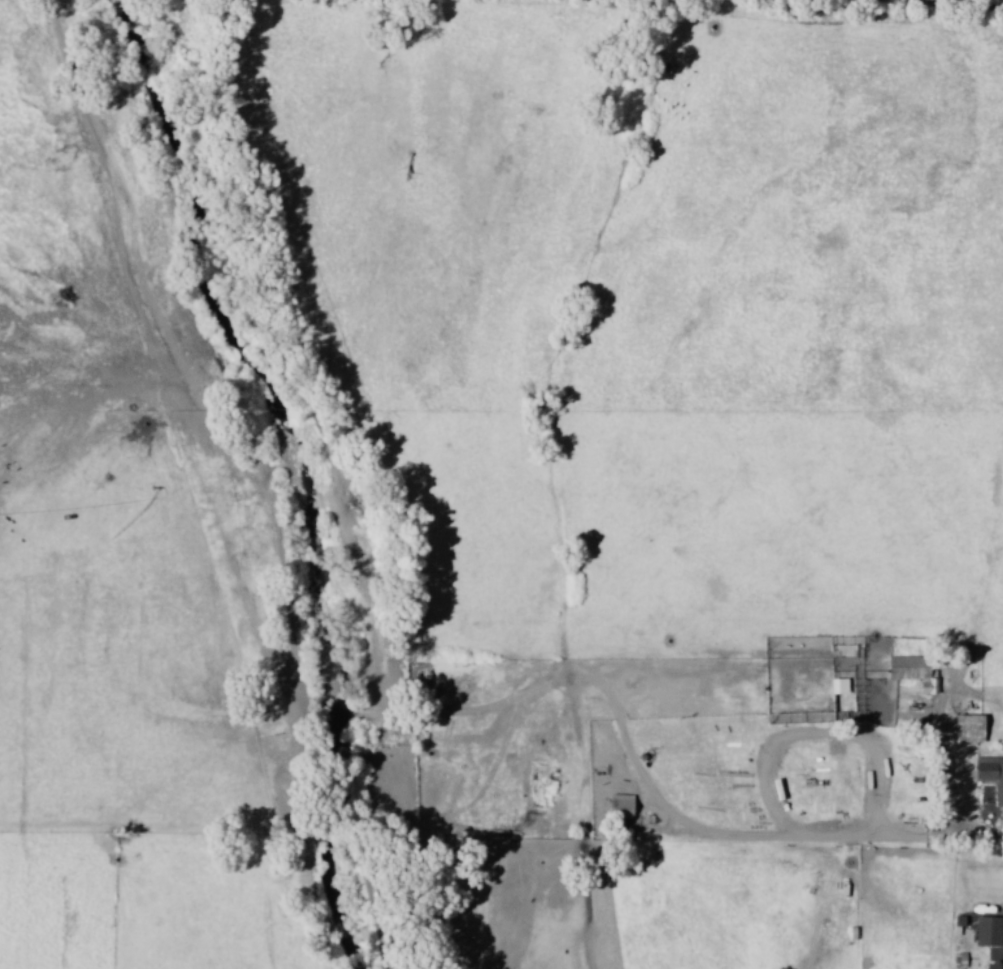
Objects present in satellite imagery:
road: (949, 3)
building: (916, 672)
building: (971, 729)
building: (991, 774)
road: (956, 793)
building: (624, 806)
building: (990, 931)
building: (996, 965)

